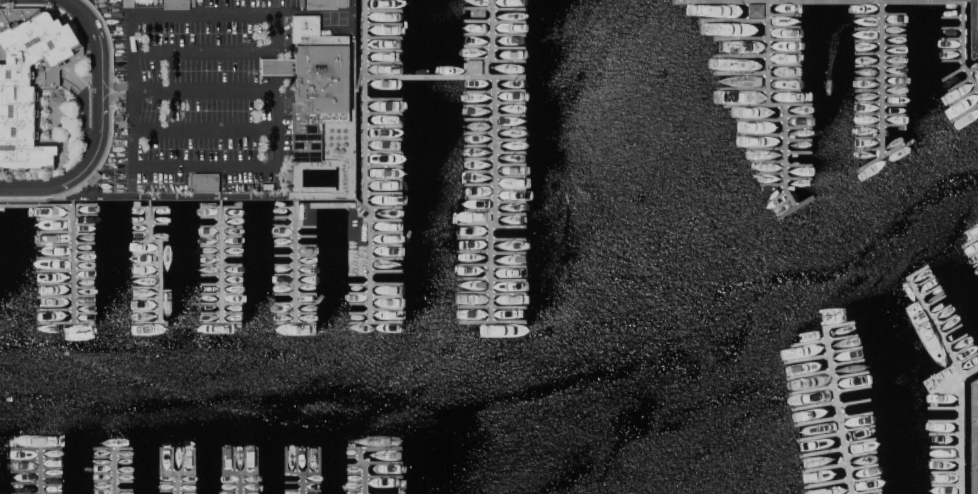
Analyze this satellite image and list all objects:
pier: (685, 0)
pier: (732, 0)
pier: (871, 0)
building: (176, 4)
building: (327, 4)
pier: (495, 8)
building: (756, 9)
pier: (384, 10)
road: (262, 11)
pier: (785, 14)
pier: (881, 15)
pier: (952, 17)
pier: (733, 20)
pier: (496, 21)
road: (975, 22)
pier: (384, 23)
pier: (895, 25)
pier: (785, 26)
pier: (952, 28)
pier: (869, 29)
pier: (496, 34)
pier: (365, 35)
pier: (895, 35)
pier: (384, 37)
pier: (741, 38)
pier: (952, 39)
pier: (785, 40)
road: (91, 41)
pier: (869, 41)
pier: (495, 46)
pier: (895, 46)
pier: (963, 46)
pier: (952, 49)
pier: (384, 50)
pier: (785, 51)
pier: (869, 53)
pier: (741, 55)
pier: (895, 56)
pier: (495, 59)
pier: (952, 60)
pier: (384, 63)
pier: (785, 65)
pier: (881, 65)
building: (475, 66)
pier: (973, 68)
pier: (741, 72)
pier: (954, 73)
pier: (425, 75)
pier: (510, 75)
pier: (895, 75)
pier: (785, 77)
pier: (884, 77)
pier: (869, 78)
pier: (360, 79)
building: (30, 81)
road: (119, 83)
building: (315, 83)
pier: (960, 83)
pier: (895, 85)
pier: (760, 88)
pier: (495, 90)
pier: (869, 90)
road: (118, 94)
pier: (895, 95)
pier: (964, 97)
pier: (383, 99)
pier: (511, 102)
pier: (870, 102)
pier: (798, 103)
pier: (746, 104)
pier: (777, 104)
pier: (480, 105)
pier: (895, 105)
pier: (384, 113)
pier: (511, 114)
pier: (881, 114)
pier: (965, 114)
pier: (798, 115)
pier: (480, 118)
pier: (760, 120)
pier: (881, 125)
road: (104, 126)
pier: (384, 126)
pier: (799, 126)
road: (203, 127)
pier: (511, 127)
pier: (480, 133)
pier: (761, 135)
pier: (870, 137)
pier: (384, 139)
pier: (511, 139)
pier: (799, 139)
pier: (480, 145)
pier: (766, 149)
pier: (870, 149)
pier: (511, 151)
pier: (384, 152)
pier: (799, 152)
pier: (365, 155)
pier: (496, 155)
pier: (881, 157)
pier: (480, 158)
pier: (768, 161)
pier: (511, 164)
pier: (385, 165)
pier: (799, 165)
road: (276, 167)
pier: (480, 171)
pier: (771, 172)
pier: (511, 176)
building: (95, 177)
pier: (799, 178)
pier: (384, 180)
building: (203, 182)
pier: (480, 184)
pier: (773, 184)
building: (269, 186)
pier: (511, 189)
pier: (384, 193)
pier: (778, 195)
pier: (480, 197)
pier: (511, 202)
pier: (782, 203)
pier: (150, 207)
pier: (221, 207)
pier: (285, 207)
pier: (796, 207)
pier: (372, 210)
pier: (480, 210)
pier: (511, 213)
pier: (85, 214)
pier: (151, 214)
pier: (221, 216)
pier: (285, 216)
pier: (56, 218)
pier: (388, 219)
pier: (150, 220)
pier: (151, 223)
pier: (477, 223)
pier: (85, 224)
pier: (285, 225)
pier: (221, 226)
pier: (509, 226)
pier: (55, 231)
pier: (151, 231)
pier: (387, 232)
pier: (85, 234)
pier: (221, 236)
pier: (295, 236)
pier: (492, 237)
pier: (151, 240)
pier: (969, 240)
pier: (66, 243)
pier: (222, 245)
pier: (296, 245)
pier: (387, 245)
pier: (493, 250)
pier: (85, 251)
pier: (146, 253)
pier: (972, 253)
pier: (222, 255)
pier: (296, 255)
pier: (55, 257)
pier: (371, 257)
pier: (387, 259)
pier: (85, 260)
pier: (74, 261)
pier: (222, 261)
pier: (295, 261)
pier: (976, 262)
pier: (296, 263)
pier: (147, 264)
pier: (222, 264)
pier: (492, 265)
pier: (66, 270)
pier: (387, 271)
pier: (916, 271)
pier: (296, 274)
pier: (222, 275)
pier: (147, 276)
pier: (85, 278)
pier: (492, 279)
pier: (922, 280)
pier: (161, 281)
pier: (55, 283)
pier: (296, 283)
pier: (222, 284)
pier: (376, 284)
pier: (85, 287)
pier: (147, 287)
pier: (926, 288)
pier: (360, 292)
pier: (222, 293)
pier: (492, 293)
pier: (295, 294)
pier: (66, 296)
pier: (931, 297)
pier: (387, 298)
pier: (146, 300)
pier: (222, 303)
pier: (85, 304)
pier: (360, 304)
pier: (295, 305)
pier: (935, 305)
pier: (492, 308)
pier: (55, 310)
pier: (387, 310)
pier: (146, 311)
pier: (222, 312)
pier: (85, 313)
pier: (940, 313)
pier: (295, 314)
pier: (360, 314)
pier: (945, 321)
pier: (66, 323)
pier: (146, 323)
pier: (221, 323)
pier: (375, 323)
pier: (492, 323)
pier: (295, 324)
pier: (936, 324)
pier: (950, 330)
pier: (823, 337)
pier: (955, 338)
pier: (960, 346)
pier: (845, 350)
pier: (965, 354)
pier: (805, 357)
pier: (847, 361)
pier: (969, 362)
pier: (971, 369)
pier: (849, 372)
pier: (809, 373)
pier: (812, 388)
pier: (852, 389)
pier: (835, 395)
pier: (852, 401)
pier: (814, 405)
pier: (943, 406)
pier: (833, 415)
pier: (943, 419)
pier: (834, 432)
pier: (960, 432)
pier: (944, 433)
road: (972, 435)
pier: (859, 440)
pier: (945, 445)
pier: (822, 451)
pier: (358, 453)
pier: (861, 453)
pier: (946, 459)
pier: (862, 465)
pier: (824, 467)
pier: (946, 470)
pier: (39, 471)
pier: (114, 471)
pier: (840, 480)
pier: (175, 483)
pier: (945, 483)
pier: (239, 484)
pier: (301, 484)
pier: (864, 491)

